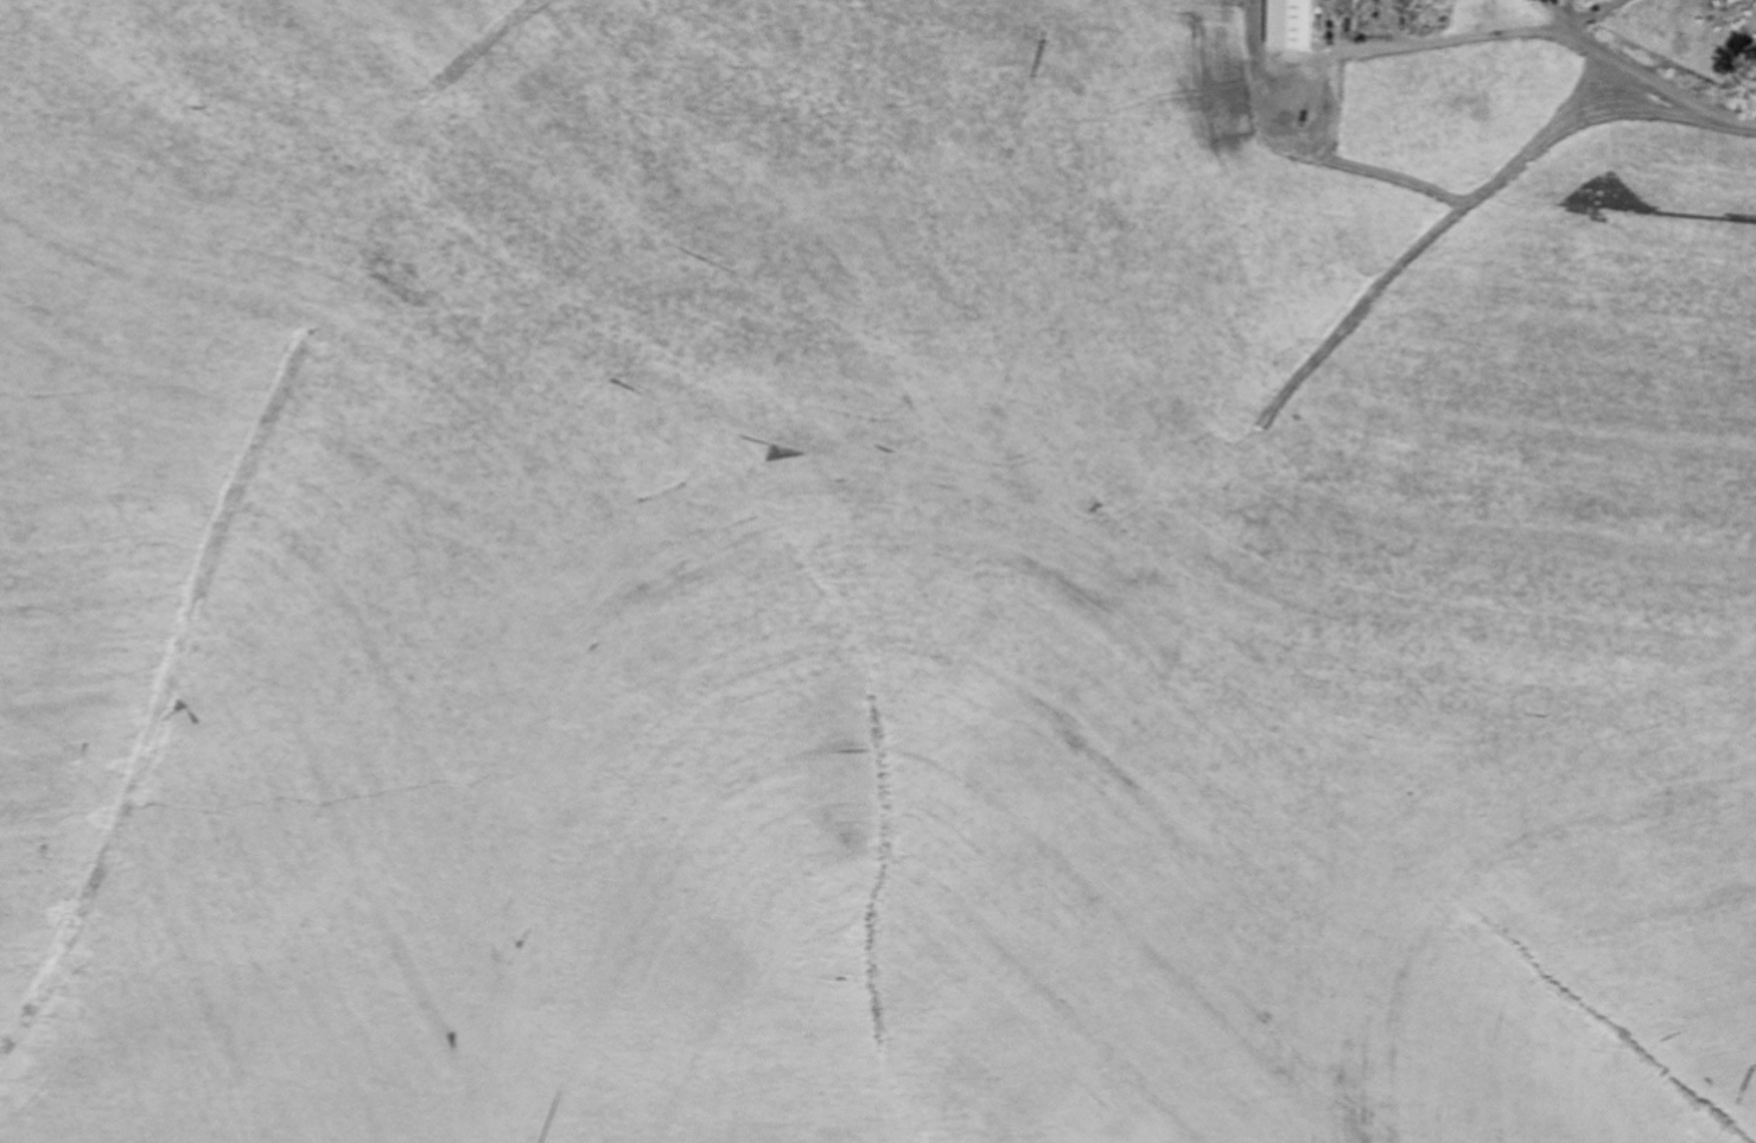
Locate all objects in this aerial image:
building: (1393, 14)
building: (1285, 25)
road: (1744, 107)

